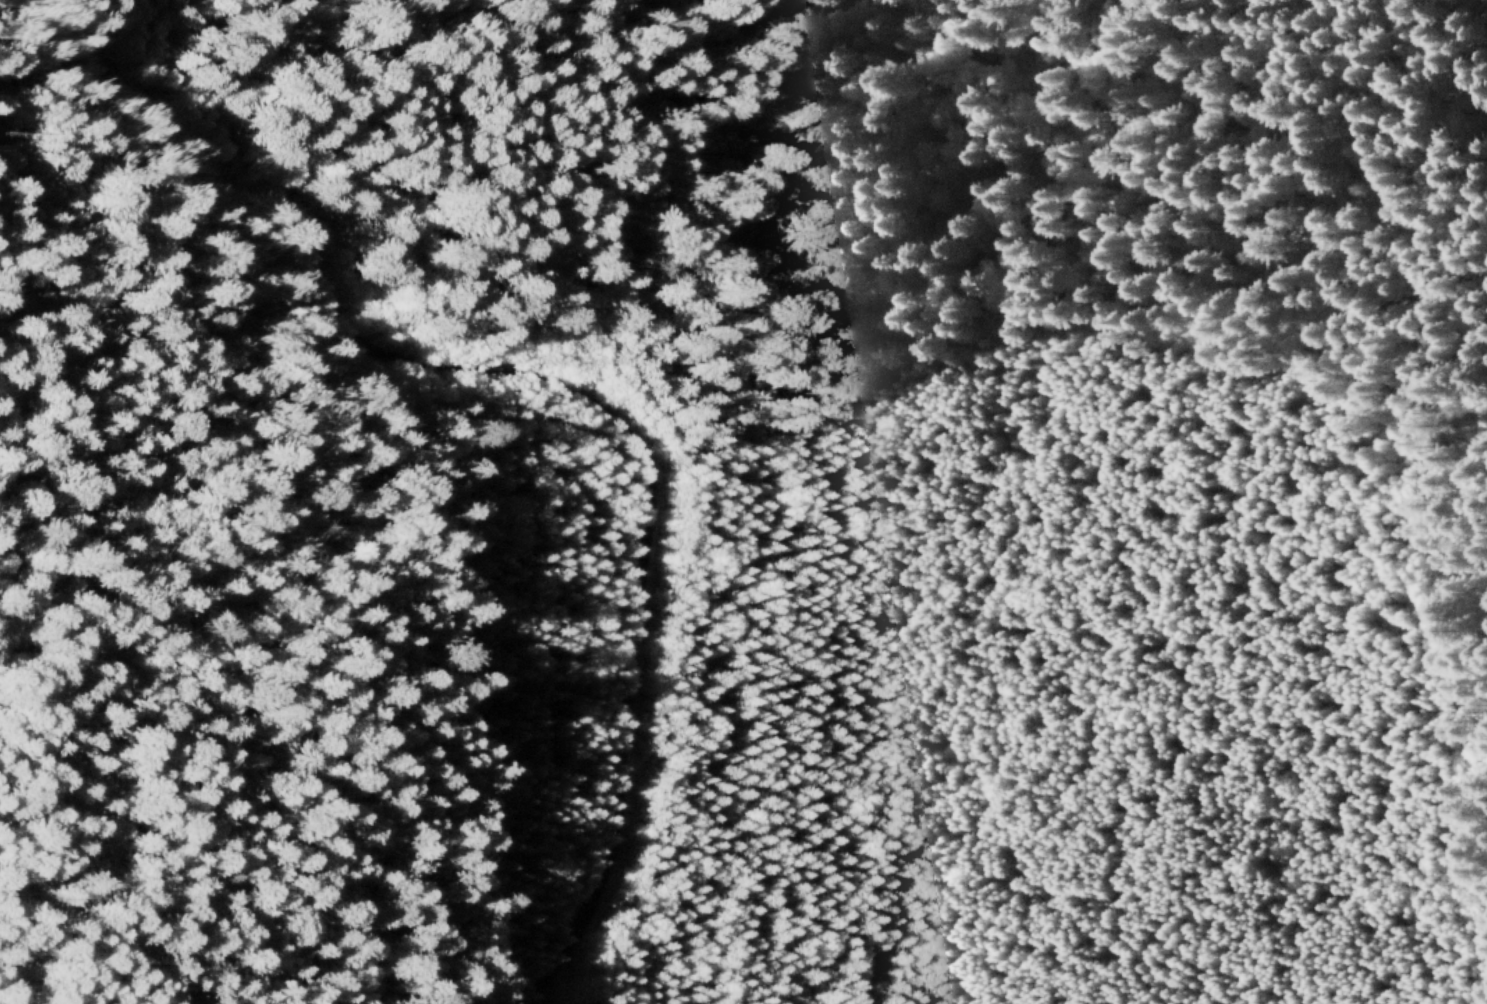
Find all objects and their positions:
road: (580, 389)
road: (864, 975)
road: (570, 976)

